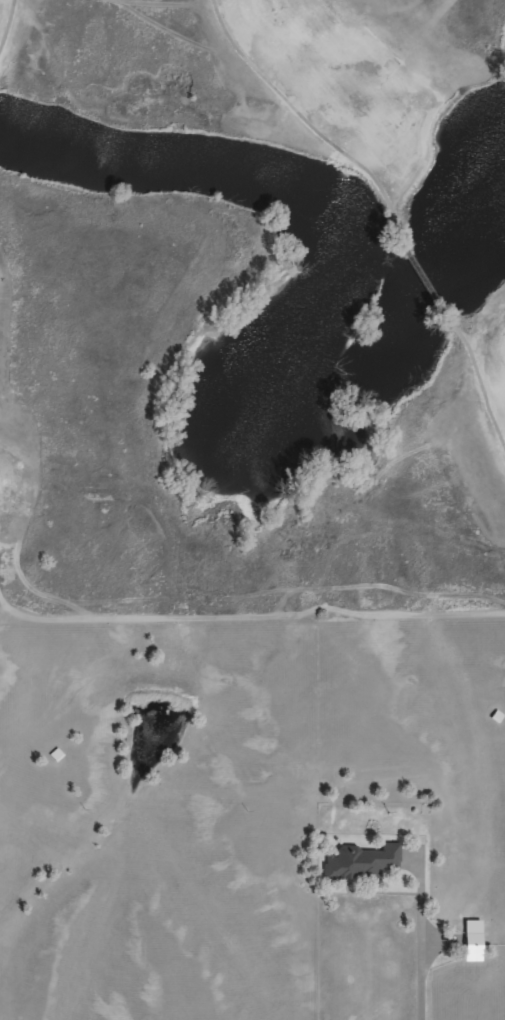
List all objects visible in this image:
road: (6, 24)
road: (309, 126)
road: (422, 284)
park: (251, 309)
road: (477, 380)
building: (361, 864)
road: (421, 932)
building: (471, 940)

